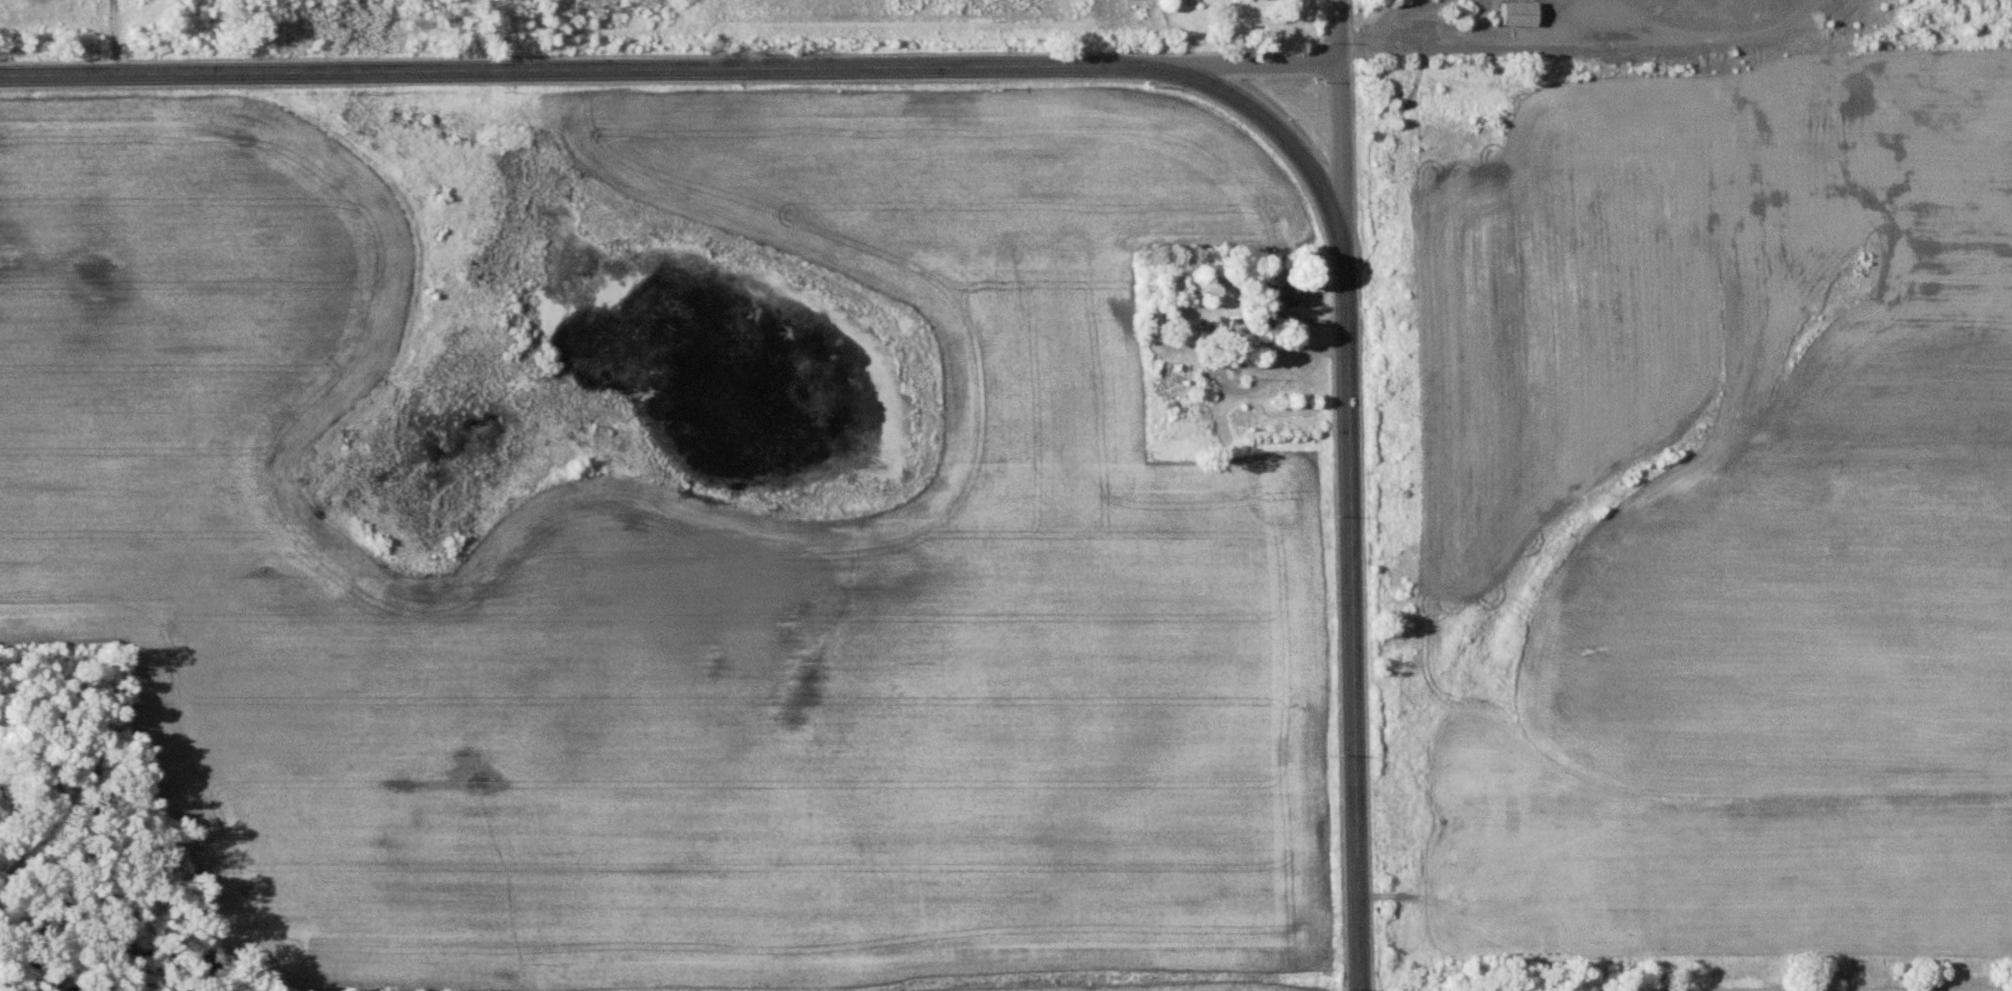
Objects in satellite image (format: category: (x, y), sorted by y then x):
building: (1260, 1)
building: (1517, 15)
road: (1679, 54)
road: (1248, 68)
road: (579, 70)
road: (1339, 134)
road: (1284, 138)
building: (1279, 297)
road: (1222, 372)
road: (1350, 629)

